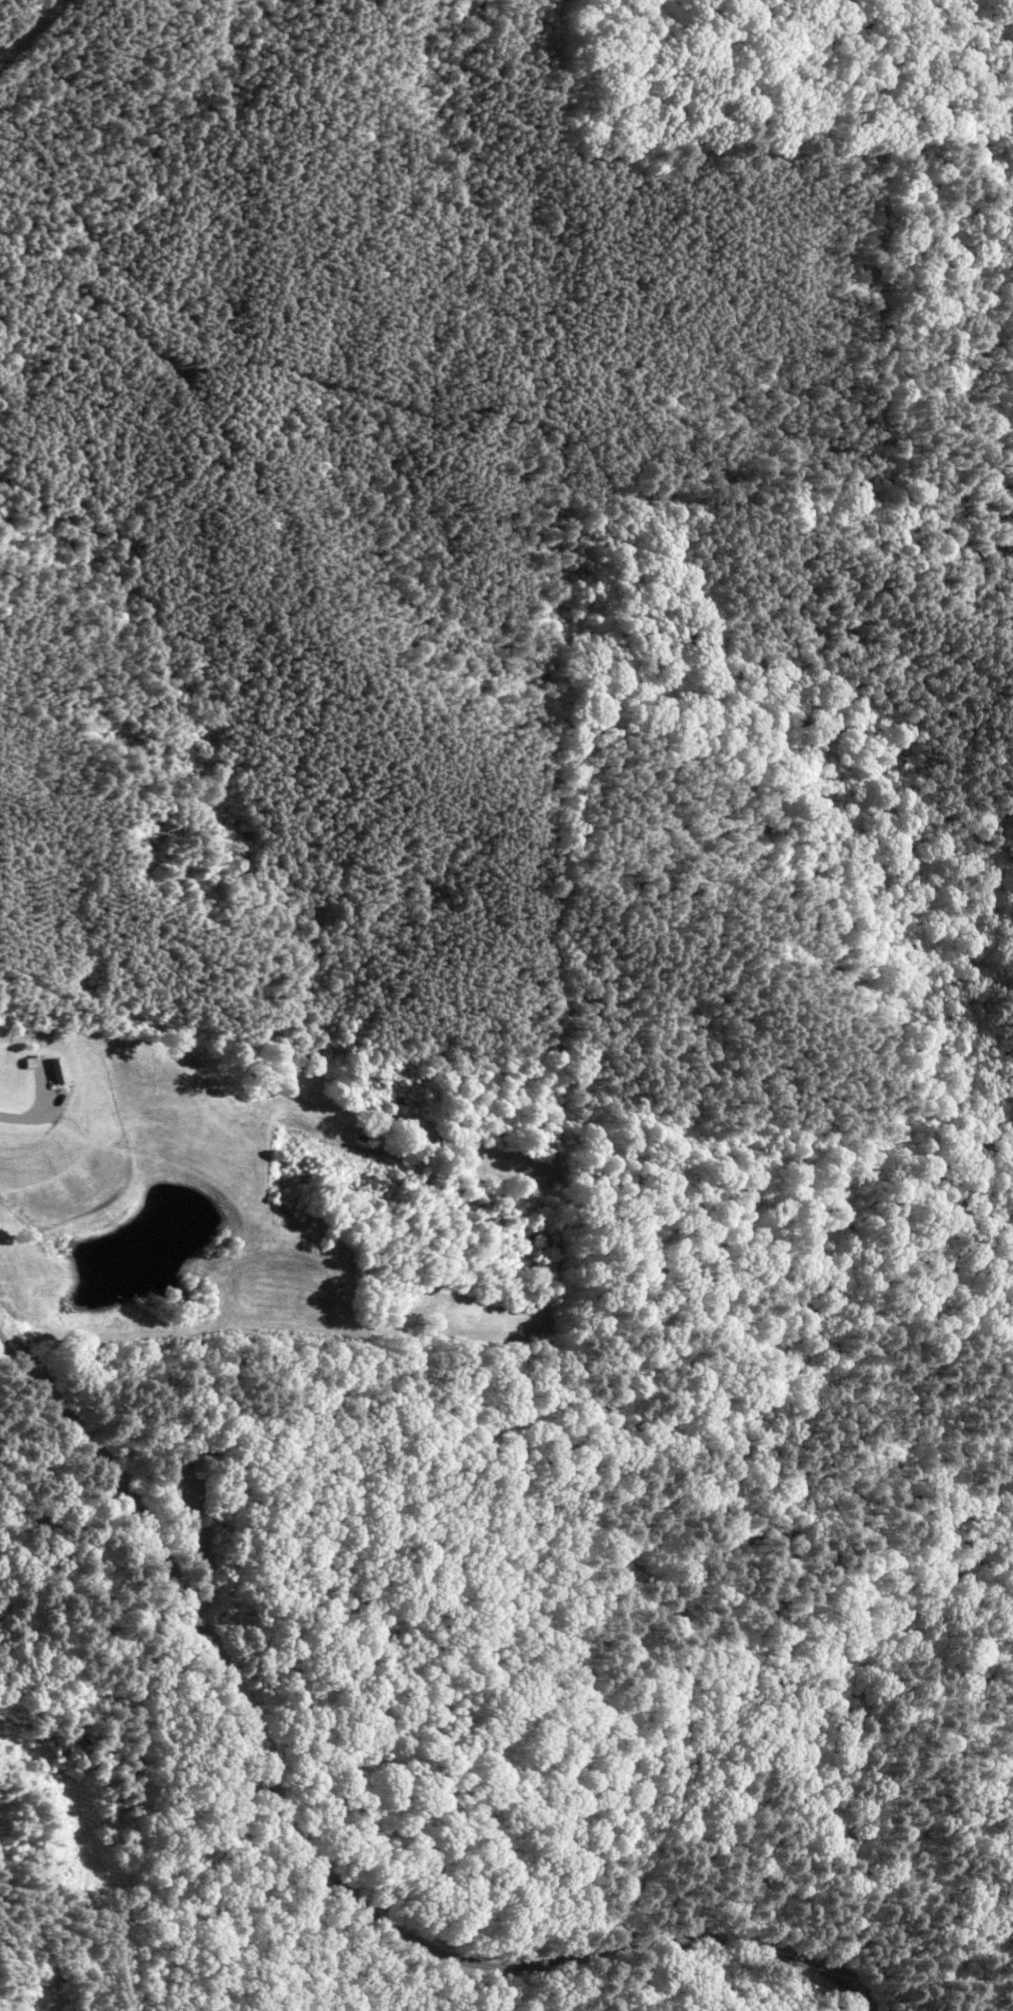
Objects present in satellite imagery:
road: (507, 922)
building: (362, 1141)
road: (268, 1769)
road: (936, 1958)

